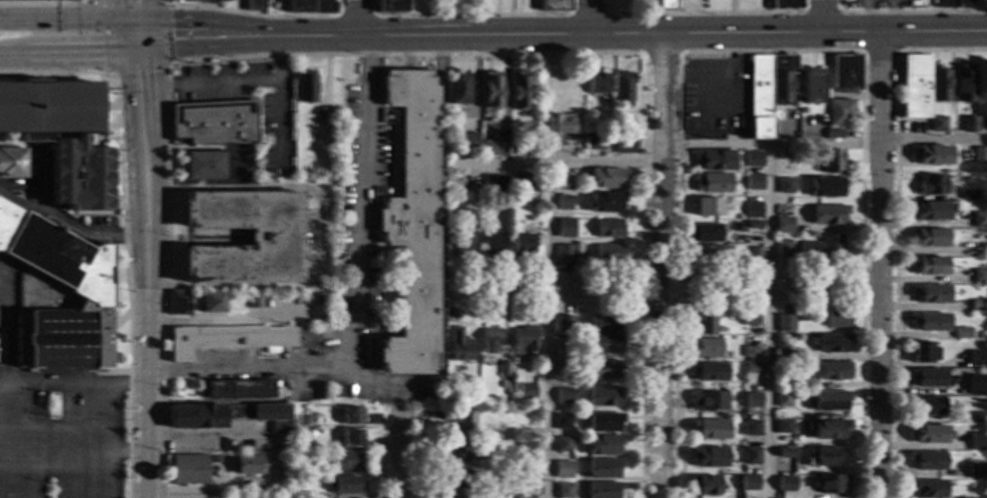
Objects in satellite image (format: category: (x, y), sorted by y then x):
building: (225, 1)
road: (42, 2)
building: (177, 2)
building: (664, 3)
building: (785, 4)
building: (952, 4)
building: (253, 5)
building: (553, 5)
building: (297, 6)
building: (322, 6)
building: (389, 6)
road: (147, 10)
road: (119, 11)
road: (906, 11)
road: (704, 12)
road: (821, 12)
road: (83, 13)
road: (253, 14)
road: (587, 14)
road: (470, 15)
road: (822, 15)
road: (354, 16)
road: (588, 16)
road: (356, 18)
traffic signals: (171, 21)
road: (177, 21)
road: (74, 22)
road: (241, 27)
road: (712, 32)
road: (316, 34)
road: (402, 36)
road: (276, 37)
road: (361, 37)
road: (122, 39)
road: (316, 41)
road: (213, 49)
road: (880, 52)
road: (660, 53)
road: (678, 54)
road: (137, 55)
road: (295, 55)
road: (73, 57)
traffic signals: (102, 57)
road: (11, 58)
road: (166, 59)
building: (209, 60)
building: (209, 62)
road: (276, 63)
traffic signals: (151, 72)
building: (846, 72)
building: (170, 73)
road: (720, 80)
building: (596, 83)
building: (964, 83)
building: (939, 84)
road: (151, 85)
road: (213, 85)
building: (305, 86)
building: (622, 86)
building: (812, 86)
building: (916, 86)
building: (457, 89)
building: (489, 90)
building: (768, 90)
building: (518, 91)
parking lot: (715, 98)
road: (714, 102)
building: (48, 108)
building: (840, 112)
building: (213, 122)
road: (275, 123)
building: (937, 124)
building: (969, 124)
building: (557, 127)
building: (322, 134)
building: (835, 134)
road: (133, 135)
building: (468, 141)
building: (593, 142)
road: (879, 142)
building: (624, 143)
building: (452, 145)
building: (489, 148)
building: (754, 155)
building: (787, 155)
building: (931, 155)
building: (981, 155)
building: (713, 160)
building: (832, 161)
building: (12, 163)
road: (554, 163)
building: (202, 166)
building: (80, 173)
building: (605, 178)
building: (754, 179)
building: (562, 180)
road: (146, 183)
building: (523, 183)
building: (712, 183)
building: (492, 184)
building: (932, 184)
building: (786, 185)
road: (281, 186)
building: (455, 186)
building: (827, 186)
building: (969, 194)
road: (18, 203)
building: (564, 203)
building: (606, 203)
building: (708, 207)
building: (754, 210)
building: (933, 211)
building: (117, 213)
building: (829, 215)
building: (979, 220)
building: (410, 223)
building: (754, 225)
building: (784, 226)
road: (73, 228)
building: (565, 228)
building: (609, 229)
road: (120, 230)
road: (895, 230)
building: (705, 233)
building: (272, 237)
building: (462, 238)
building: (929, 238)
building: (492, 244)
building: (523, 244)
building: (784, 248)
building: (817, 248)
building: (980, 249)
building: (609, 253)
building: (708, 253)
building: (565, 254)
building: (756, 255)
road: (660, 264)
road: (879, 264)
road: (769, 266)
building: (931, 266)
building: (982, 266)
building: (980, 276)
road: (861, 285)
road: (220, 288)
road: (666, 289)
building: (931, 293)
building: (56, 296)
building: (253, 300)
road: (767, 301)
building: (177, 302)
road: (673, 302)
building: (211, 303)
road: (642, 305)
building: (979, 305)
building: (838, 318)
building: (750, 320)
building: (930, 321)
road: (221, 323)
building: (785, 323)
building: (564, 324)
building: (605, 324)
building: (703, 325)
building: (803, 328)
road: (548, 331)
building: (963, 333)
building: (238, 340)
building: (490, 341)
building: (524, 341)
building: (832, 343)
building: (606, 344)
building: (460, 346)
building: (709, 348)
building: (752, 352)
building: (922, 352)
building: (566, 353)
building: (786, 355)
road: (143, 356)
building: (977, 358)
building: (752, 369)
road: (245, 370)
building: (503, 370)
building: (563, 370)
building: (604, 370)
building: (834, 371)
building: (709, 372)
building: (928, 377)
building: (801, 382)
road: (394, 383)
road: (110, 386)
building: (977, 387)
building: (239, 390)
building: (926, 391)
building: (526, 392)
building: (563, 396)
building: (604, 397)
building: (784, 399)
building: (830, 400)
building: (709, 401)
building: (752, 401)
building: (926, 406)
building: (351, 416)
building: (228, 417)
building: (977, 417)
building: (300, 420)
building: (459, 422)
building: (563, 422)
building: (604, 422)
building: (783, 426)
building: (710, 429)
building: (752, 429)
building: (829, 429)
building: (301, 434)
building: (928, 434)
building: (351, 438)
road: (205, 442)
building: (977, 442)
building: (563, 445)
building: (603, 445)
building: (526, 450)
building: (456, 452)
road: (127, 453)
road: (381, 453)
building: (786, 453)
road: (398, 454)
road: (413, 454)
building: (752, 456)
building: (820, 456)
building: (710, 457)
building: (215, 460)
building: (347, 461)
building: (927, 461)
building: (246, 465)
building: (563, 465)
building: (302, 466)
building: (188, 469)
building: (603, 469)
building: (975, 471)
building: (525, 475)
building: (455, 479)
building: (748, 483)
building: (786, 484)
building: (830, 484)
building: (705, 485)
building: (344, 486)
building: (925, 488)
building: (603, 490)
building: (564, 491)
building: (299, 495)
building: (261, 497)
building: (450, 497)
building: (525, 497)
building: (964, 497)

